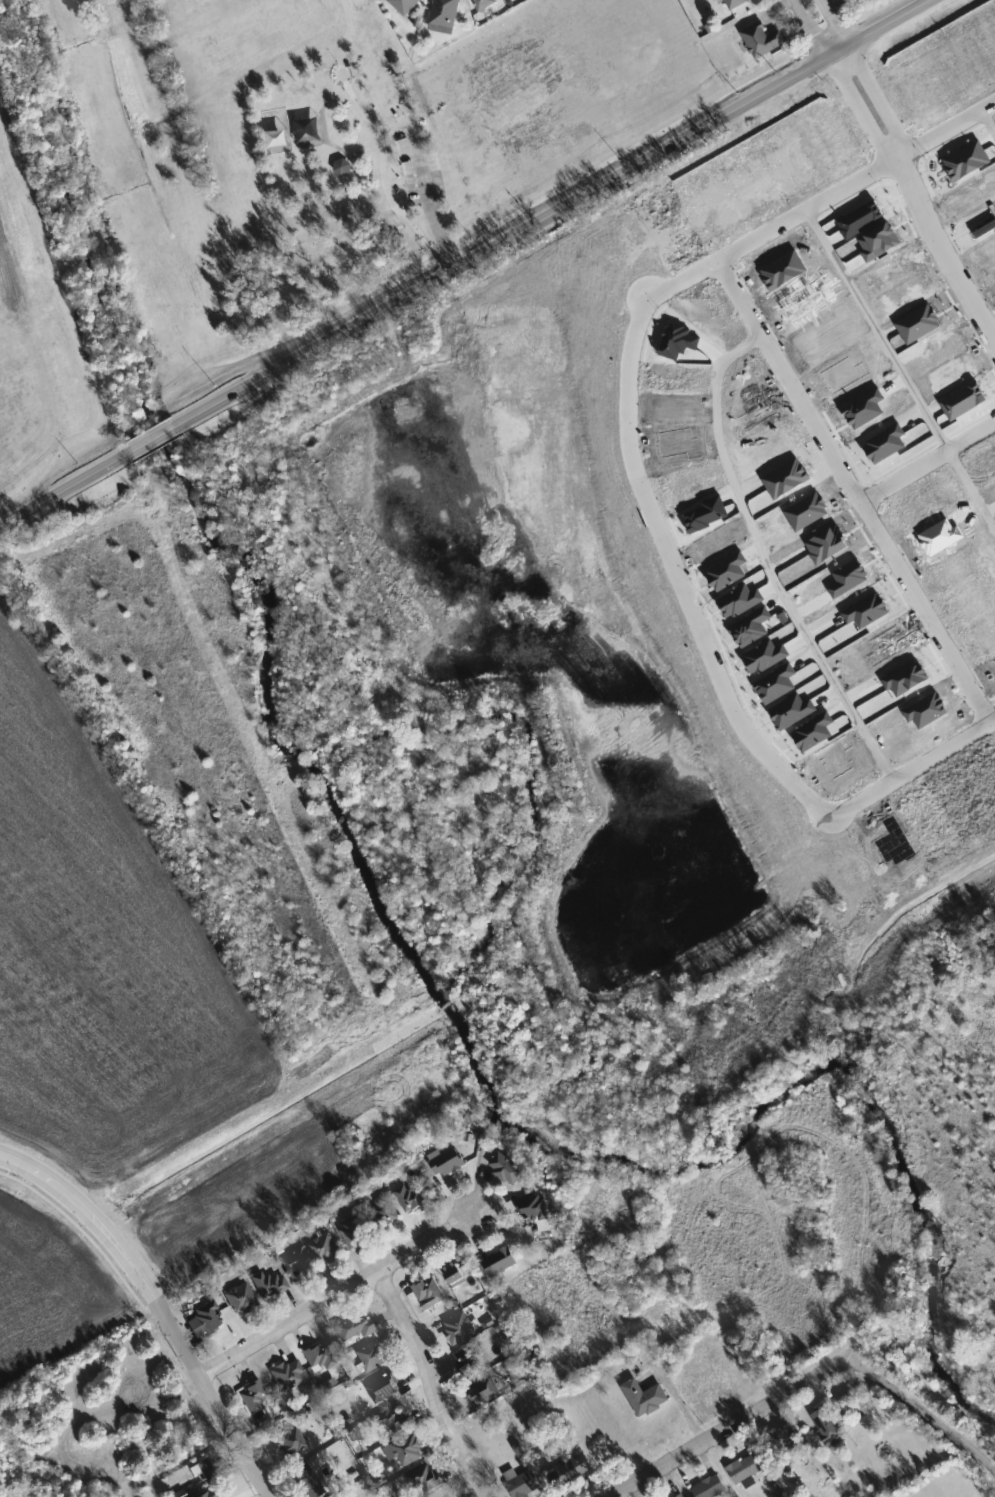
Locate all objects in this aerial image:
building: (733, 2)
building: (487, 3)
building: (404, 5)
building: (445, 12)
road: (834, 23)
road: (812, 28)
building: (762, 38)
road: (878, 99)
road: (361, 108)
road: (860, 108)
road: (988, 120)
road: (323, 127)
road: (946, 128)
park: (305, 155)
parking lot: (417, 159)
building: (343, 165)
road: (426, 193)
road: (552, 214)
road: (408, 218)
road: (772, 228)
road: (941, 250)
road: (900, 368)
road: (155, 440)
road: (928, 461)
road: (67, 489)
road: (855, 489)
road: (765, 558)
road: (677, 573)
road: (912, 768)
building: (447, 1164)
building: (507, 1168)
building: (411, 1197)
building: (535, 1211)
building: (384, 1214)
building: (355, 1231)
building: (325, 1250)
building: (500, 1261)
building: (298, 1266)
building: (456, 1274)
building: (270, 1283)
road: (337, 1292)
building: (429, 1293)
building: (240, 1299)
road: (157, 1303)
building: (208, 1317)
building: (353, 1326)
building: (459, 1329)
building: (320, 1356)
building: (372, 1356)
building: (473, 1360)
building: (289, 1375)
road: (810, 1379)
road: (432, 1382)
building: (383, 1388)
building: (483, 1391)
building: (253, 1397)
building: (645, 1397)
building: (394, 1421)
building: (827, 1426)
building: (792, 1442)
building: (289, 1443)
building: (409, 1450)
building: (210, 1467)
building: (745, 1469)
building: (569, 1472)
building: (425, 1480)
building: (308, 1483)
building: (522, 1483)
building: (710, 1487)
building: (228, 1491)
building: (683, 1496)

